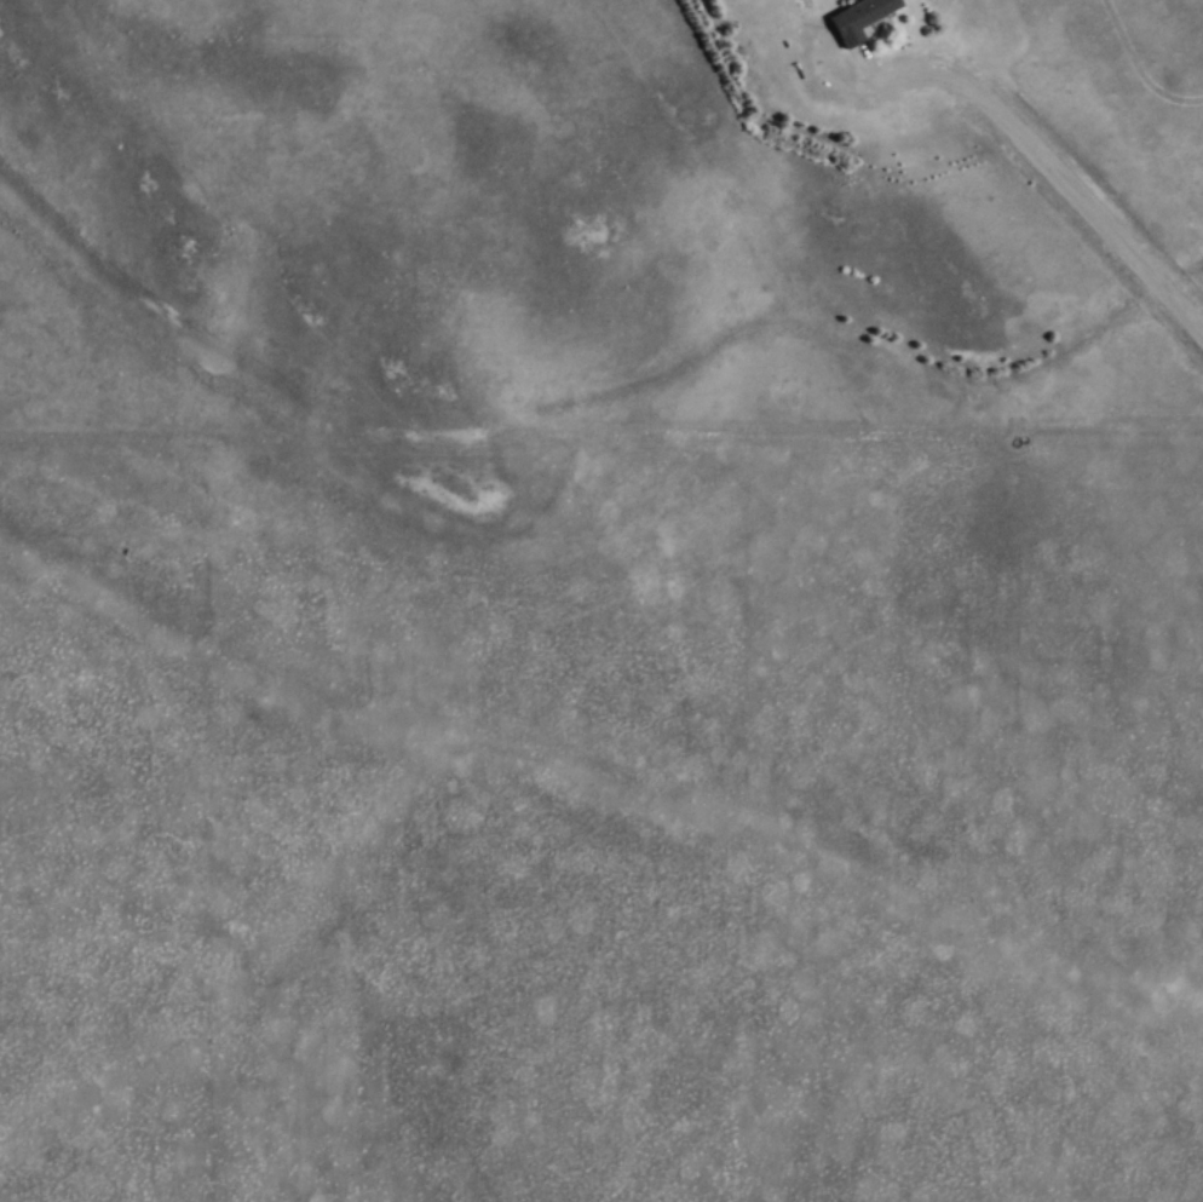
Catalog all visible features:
building: (854, 16)
road: (1060, 173)

